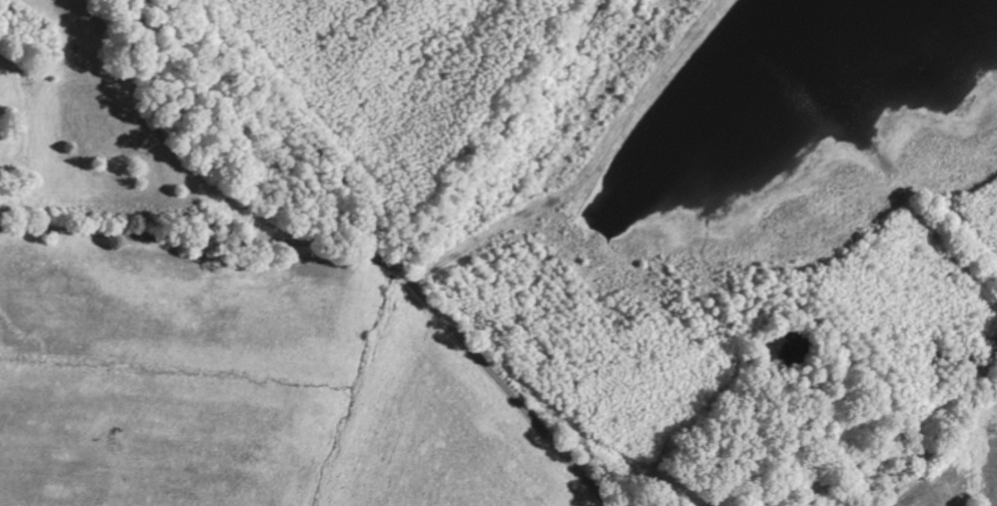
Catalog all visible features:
road: (356, 257)

